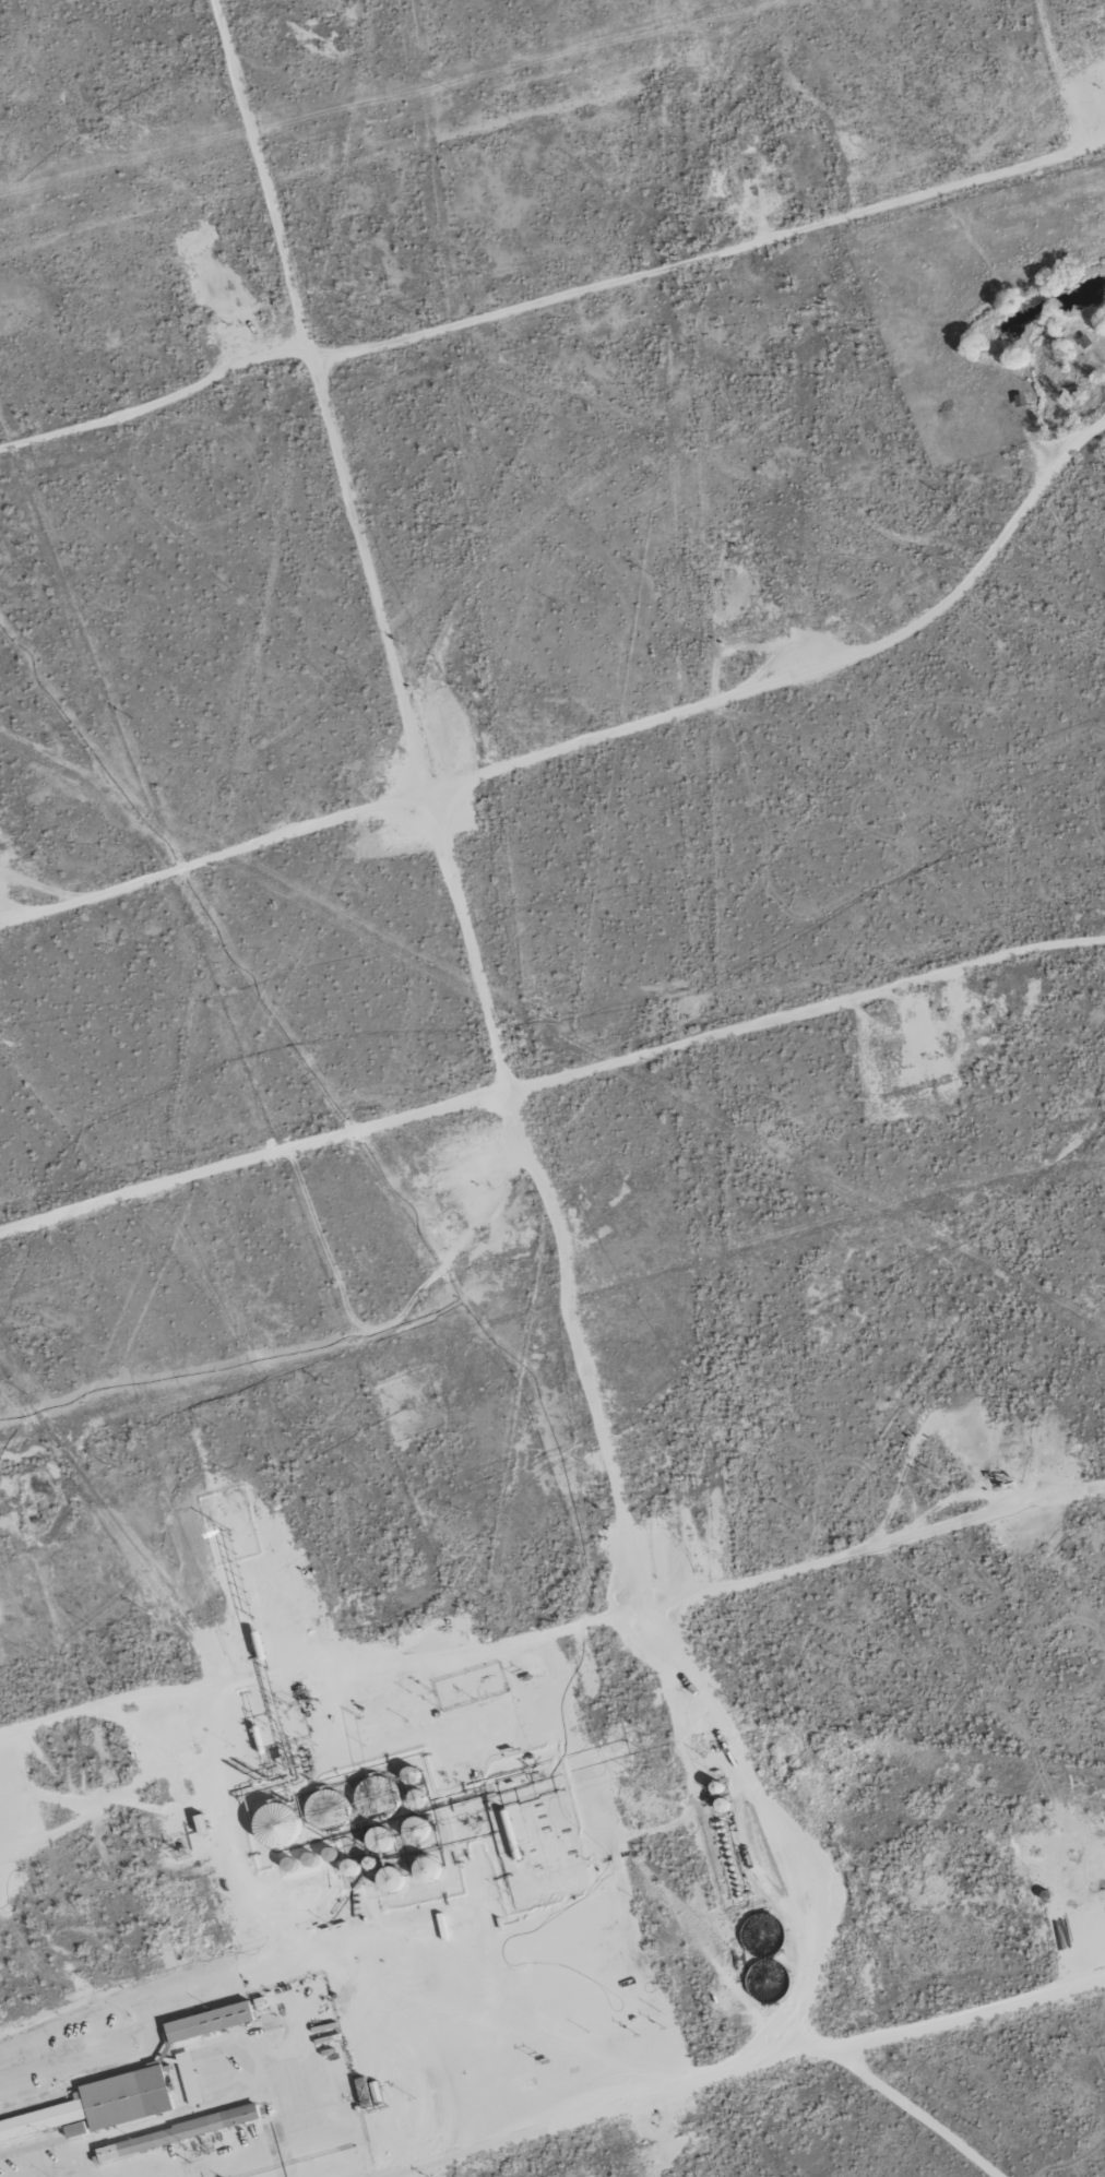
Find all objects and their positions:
building: (274, 1823)
building: (207, 2021)
building: (188, 2078)
building: (99, 2104)
building: (74, 2128)
road: (31, 2145)

